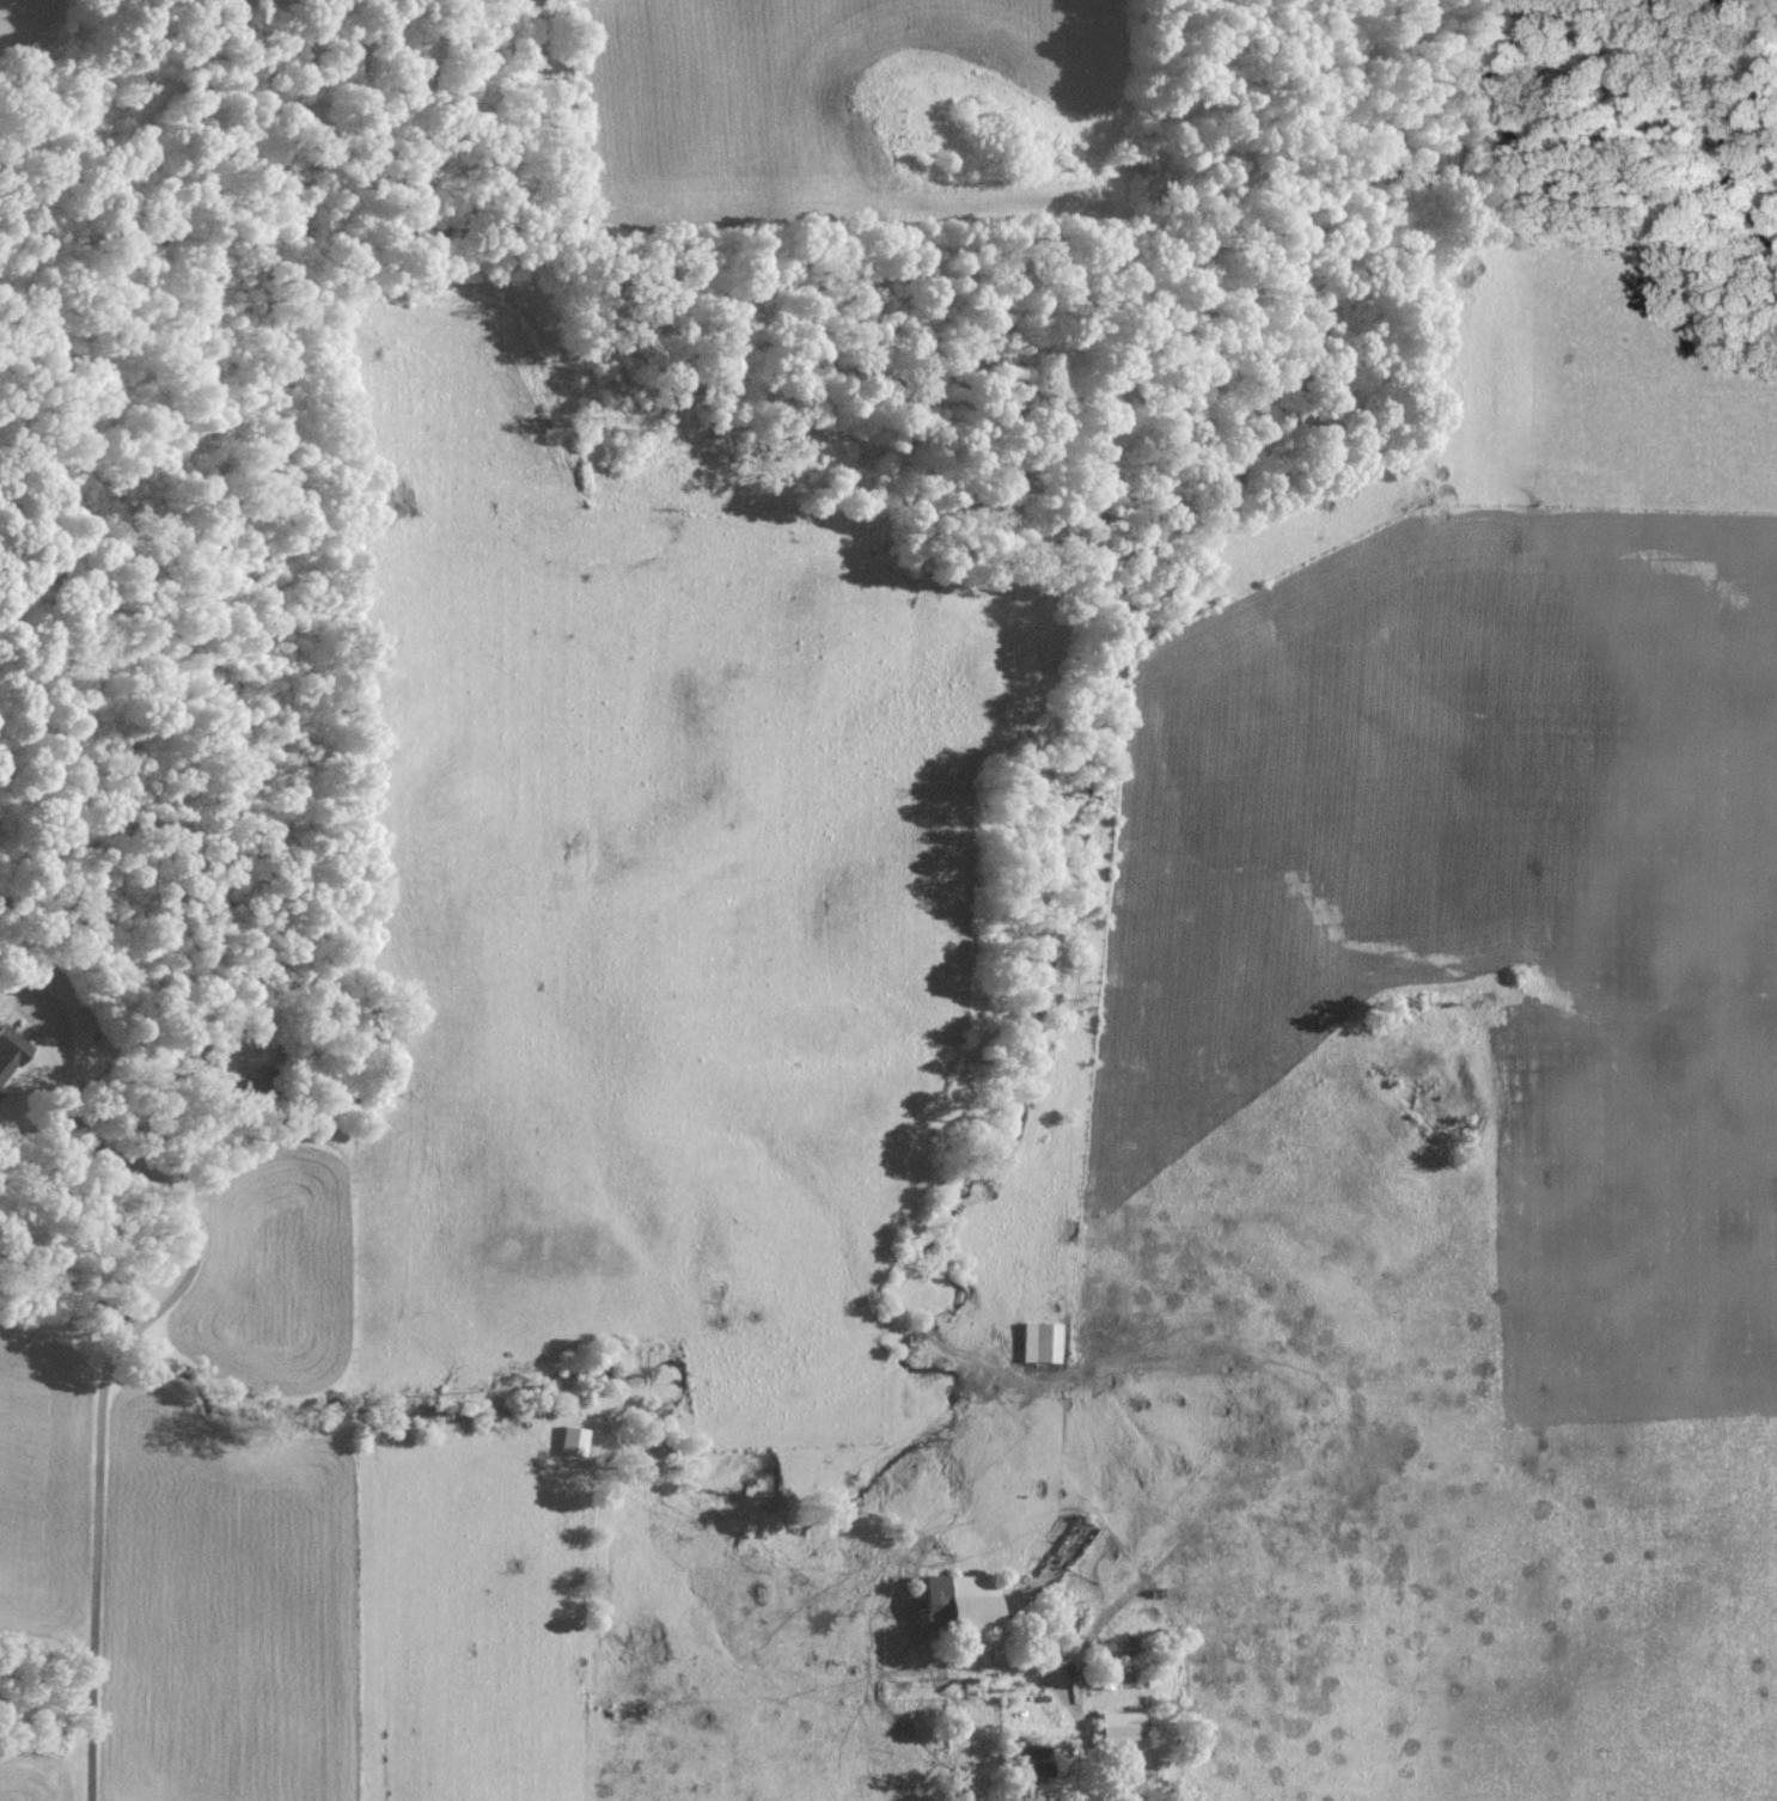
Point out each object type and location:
building: (11, 1051)
building: (1043, 1341)
building: (575, 1439)
building: (965, 1600)
building: (1124, 1730)
road: (1077, 1734)
building: (1042, 1769)

